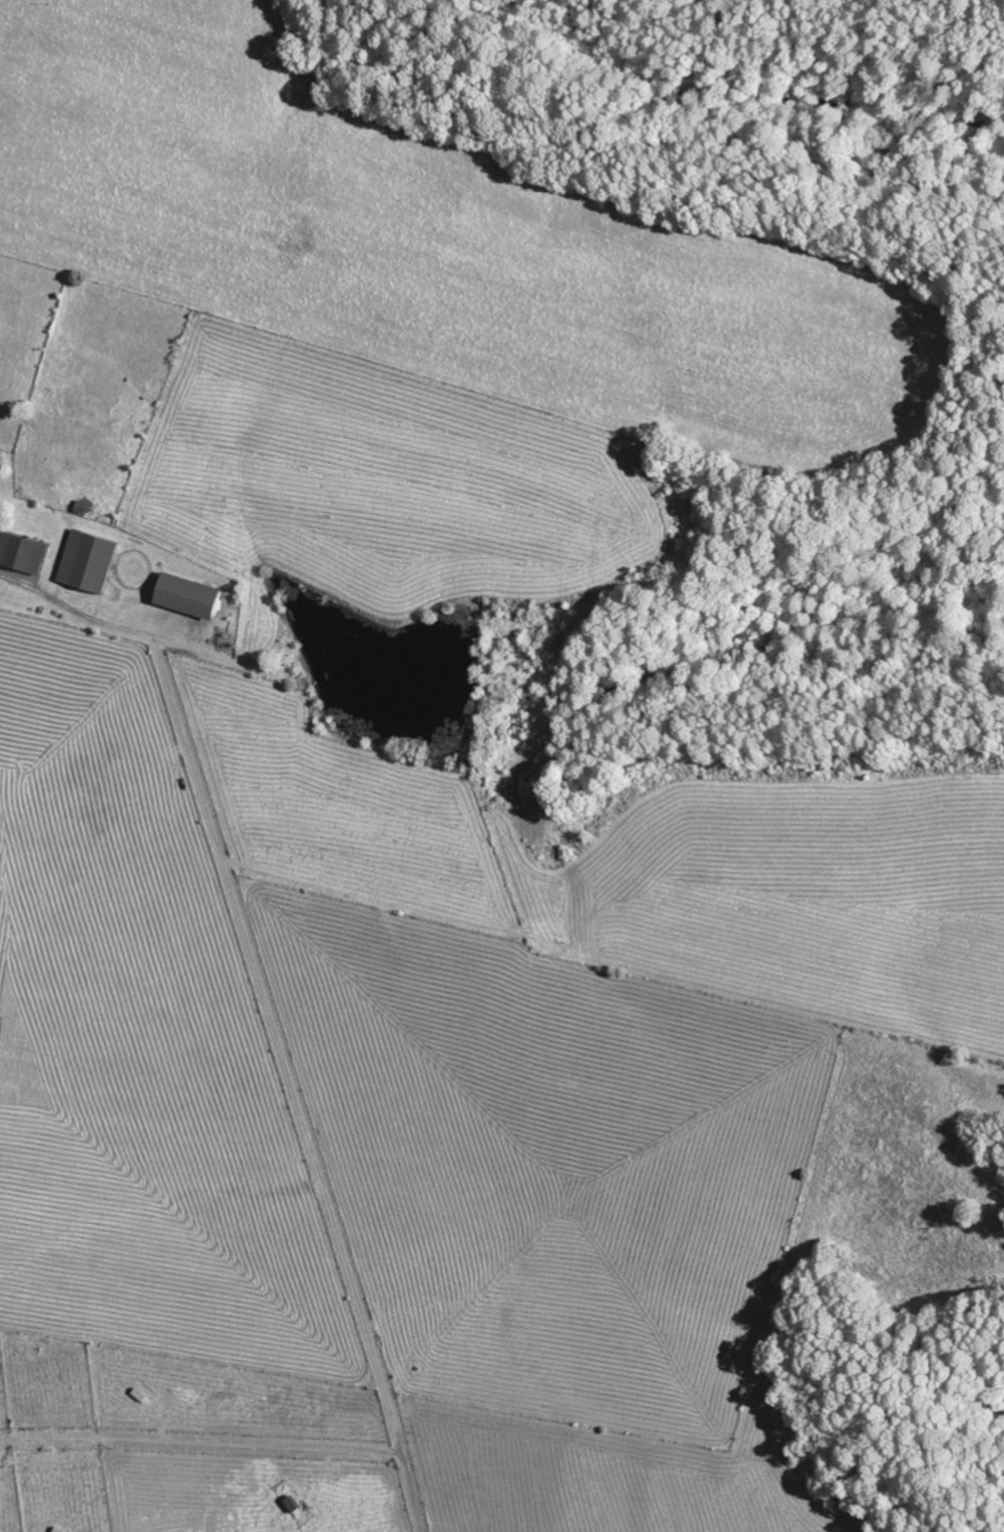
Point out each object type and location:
building: (23, 552)
building: (89, 561)
building: (192, 596)

